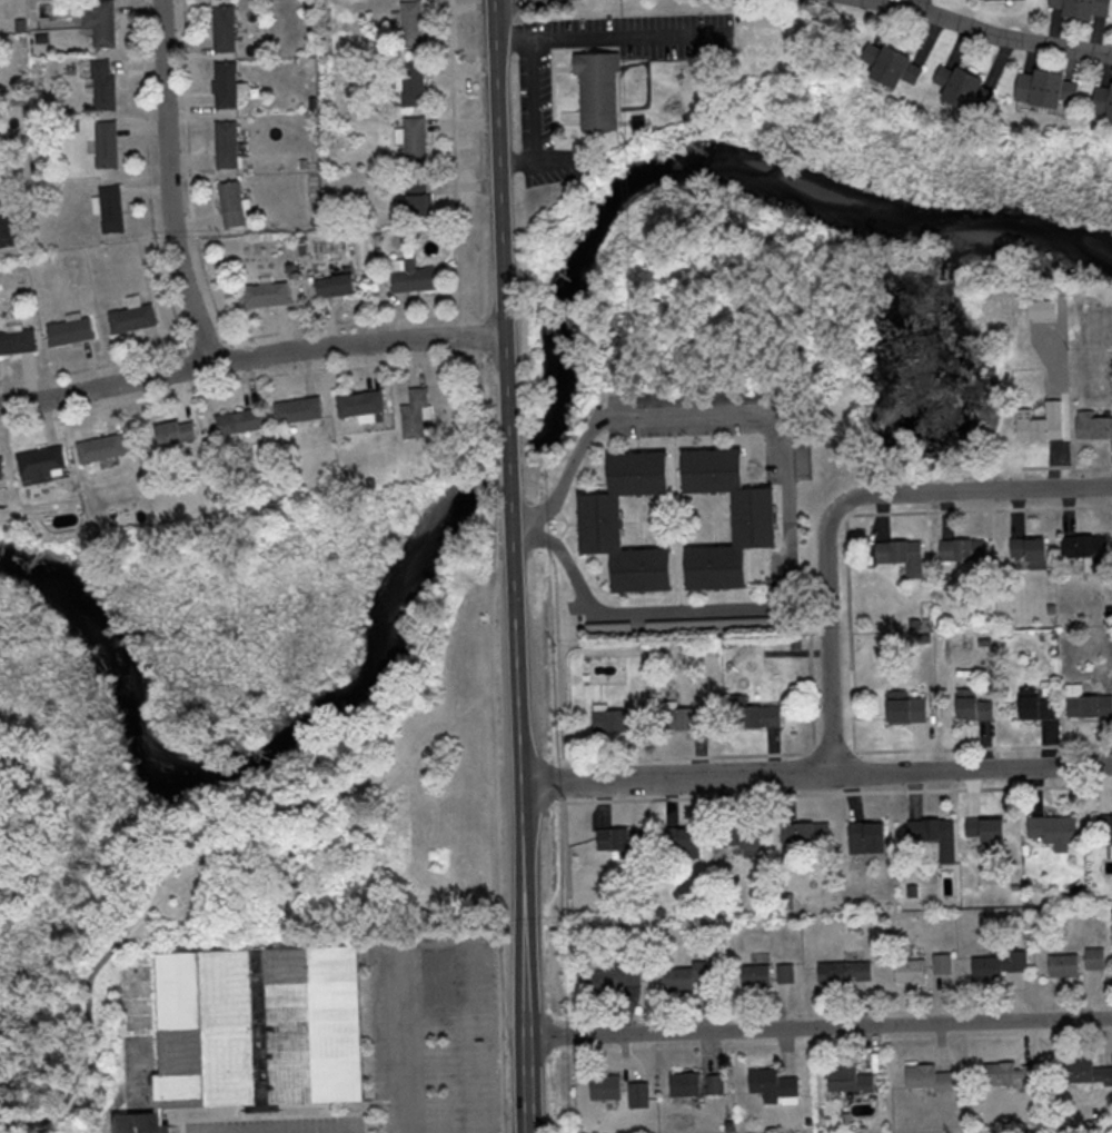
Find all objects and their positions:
road: (890, 6)
road: (917, 6)
building: (1083, 8)
building: (101, 20)
building: (411, 23)
building: (225, 27)
road: (613, 36)
road: (1012, 39)
building: (894, 63)
building: (414, 82)
building: (105, 83)
building: (227, 83)
building: (966, 86)
building: (1049, 87)
building: (602, 92)
building: (1103, 98)
road: (533, 112)
building: (416, 140)
building: (107, 143)
building: (228, 143)
road: (505, 166)
road: (171, 183)
building: (418, 197)
building: (232, 202)
building: (112, 208)
building: (360, 248)
building: (413, 275)
building: (336, 284)
building: (268, 294)
building: (1042, 309)
building: (133, 317)
building: (71, 331)
building: (18, 340)
road: (252, 355)
road: (513, 384)
building: (363, 405)
building: (300, 410)
building: (417, 414)
building: (241, 421)
building: (1041, 423)
building: (1093, 425)
building: (177, 433)
building: (103, 448)
road: (515, 453)
building: (46, 463)
building: (3, 471)
road: (843, 503)
road: (679, 517)
road: (679, 518)
road: (795, 518)
road: (721, 519)
road: (646, 524)
building: (755, 531)
building: (605, 535)
building: (962, 549)
building: (1084, 550)
building: (1026, 551)
building: (900, 555)
building: (1084, 704)
building: (969, 706)
building: (1031, 706)
building: (901, 707)
building: (754, 714)
building: (686, 718)
building: (619, 722)
road: (820, 772)
road: (528, 801)
building: (1103, 827)
building: (1050, 829)
building: (983, 832)
building: (805, 834)
building: (932, 835)
building: (863, 837)
building: (745, 838)
building: (683, 839)
building: (624, 842)
building: (1091, 957)
building: (940, 964)
building: (995, 965)
building: (1060, 965)
building: (905, 971)
building: (786, 973)
building: (842, 973)
building: (692, 975)
building: (757, 976)
building: (614, 978)
road: (822, 1025)
park: (340, 1027)
building: (239, 1030)
parking lot: (443, 1031)
road: (410, 1044)
building: (1084, 1074)
building: (1010, 1076)
building: (925, 1079)
building: (845, 1081)
road: (470, 1084)
building: (685, 1084)
building: (715, 1084)
building: (774, 1086)
building: (607, 1087)
building: (639, 1095)
building: (142, 1124)
parking lot: (288, 1125)

